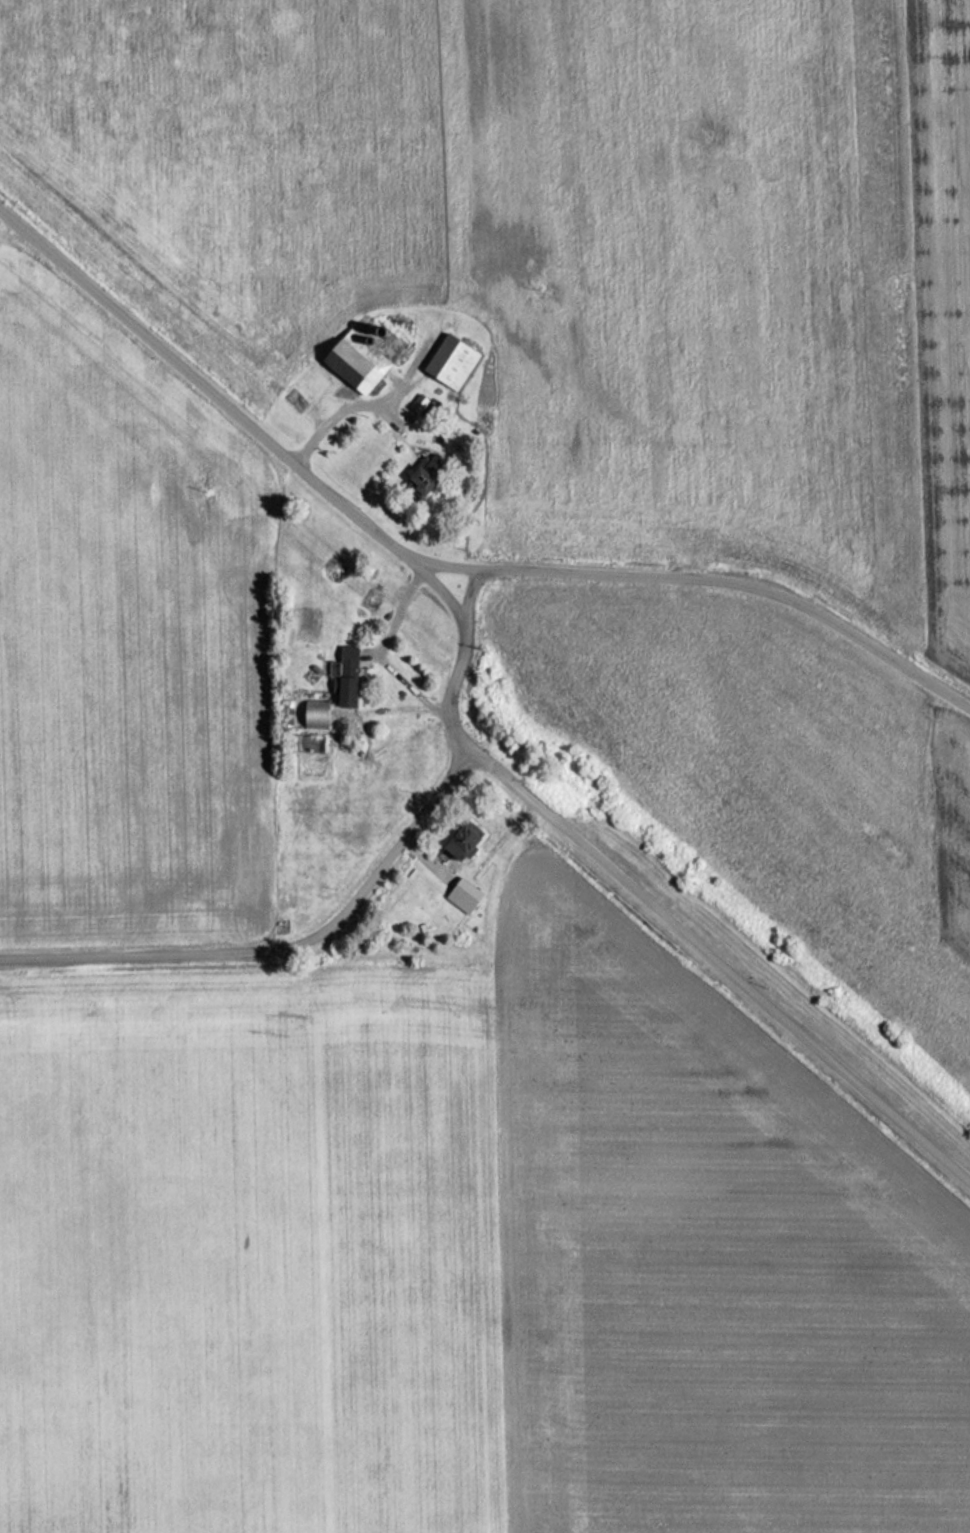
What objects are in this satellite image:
crop: (583, 237)
building: (353, 360)
building: (447, 362)
road: (403, 390)
building: (415, 403)
road: (342, 411)
road: (298, 465)
building: (421, 475)
road: (707, 577)
road: (471, 593)
crop: (122, 638)
road: (377, 655)
building: (341, 676)
railway: (485, 695)
crop: (788, 786)
building: (459, 842)
road: (383, 863)
building: (460, 896)
road: (137, 951)
road: (733, 968)
crop: (251, 1260)
crop: (704, 1264)

